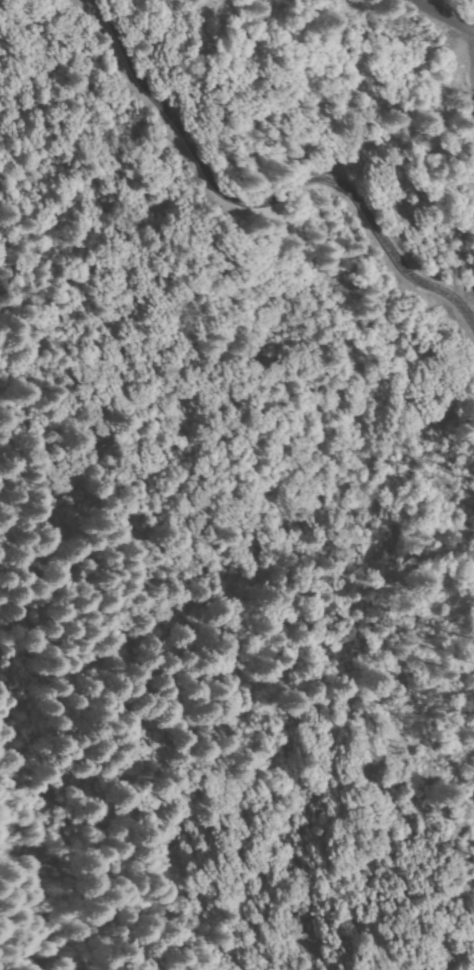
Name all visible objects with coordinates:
road: (414, 21)

